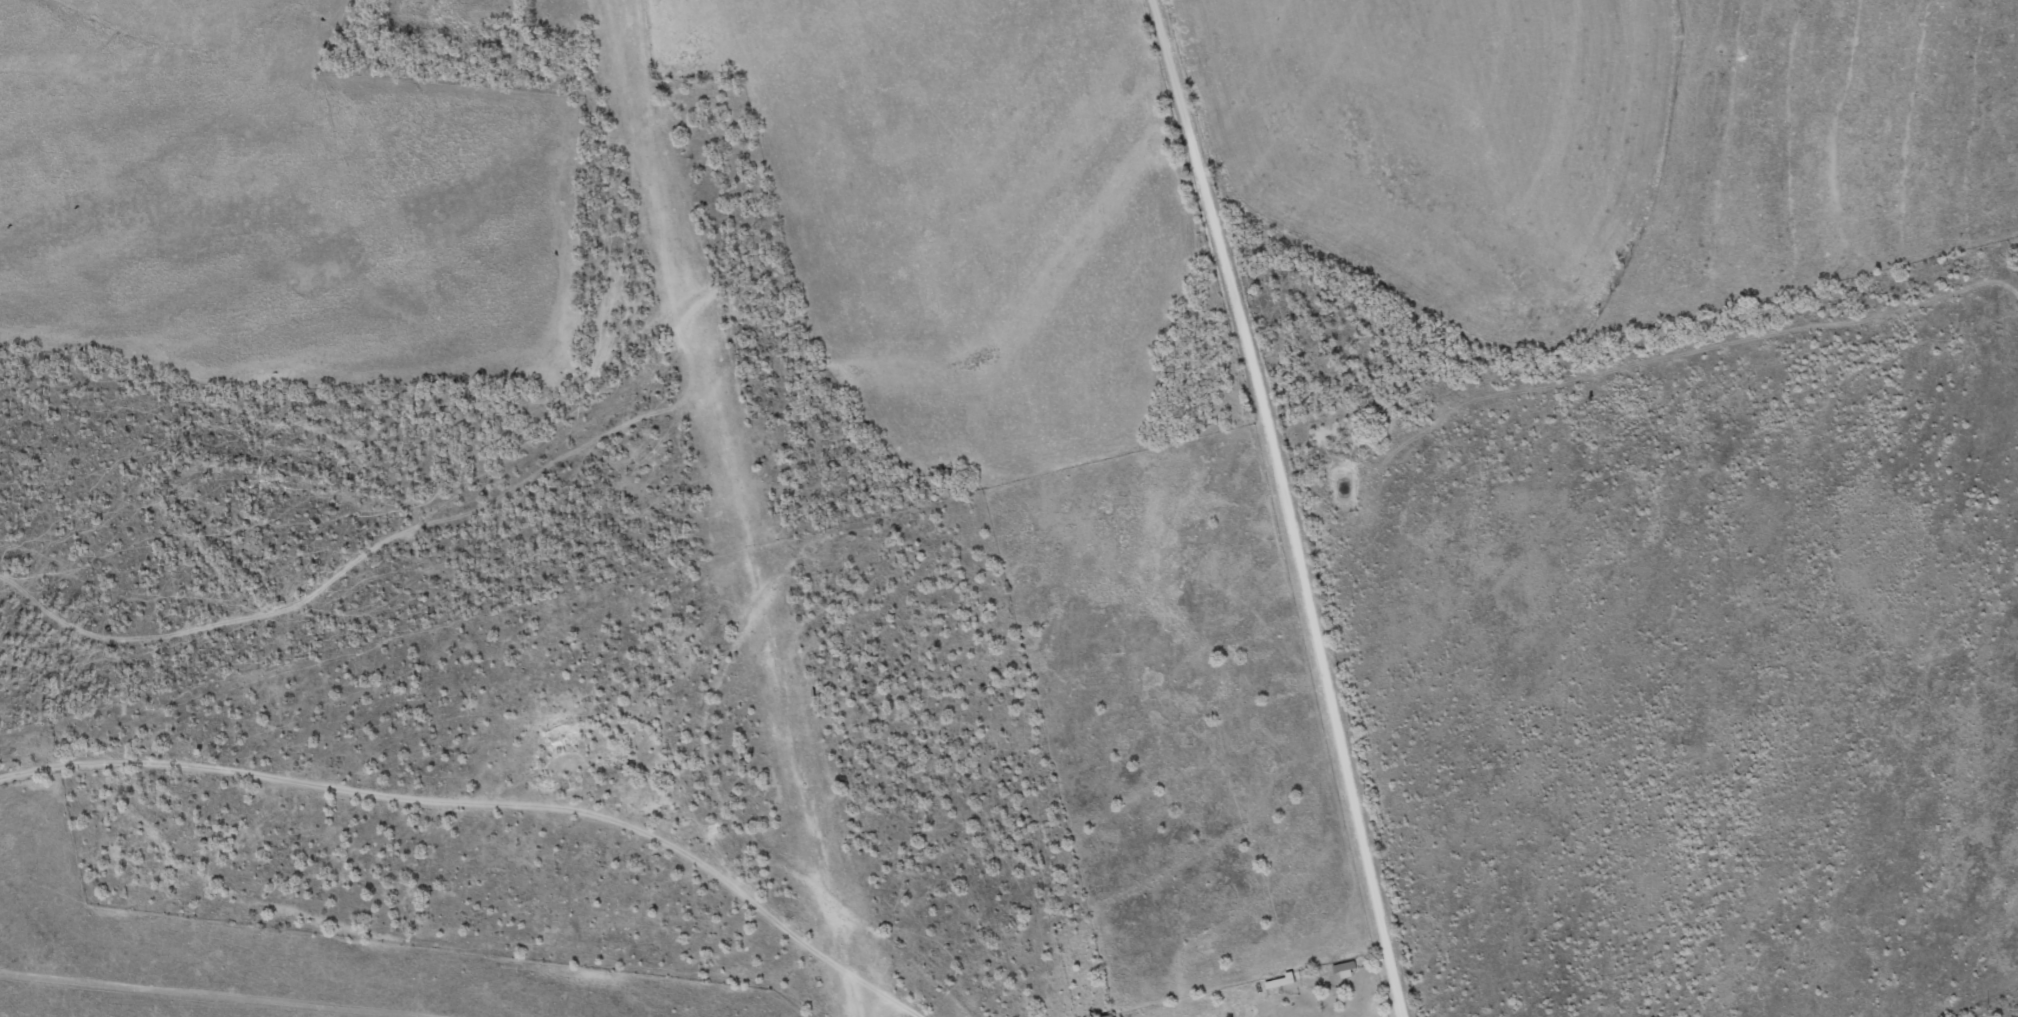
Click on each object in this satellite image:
road: (1276, 502)
building: (1344, 969)
building: (1110, 1016)

